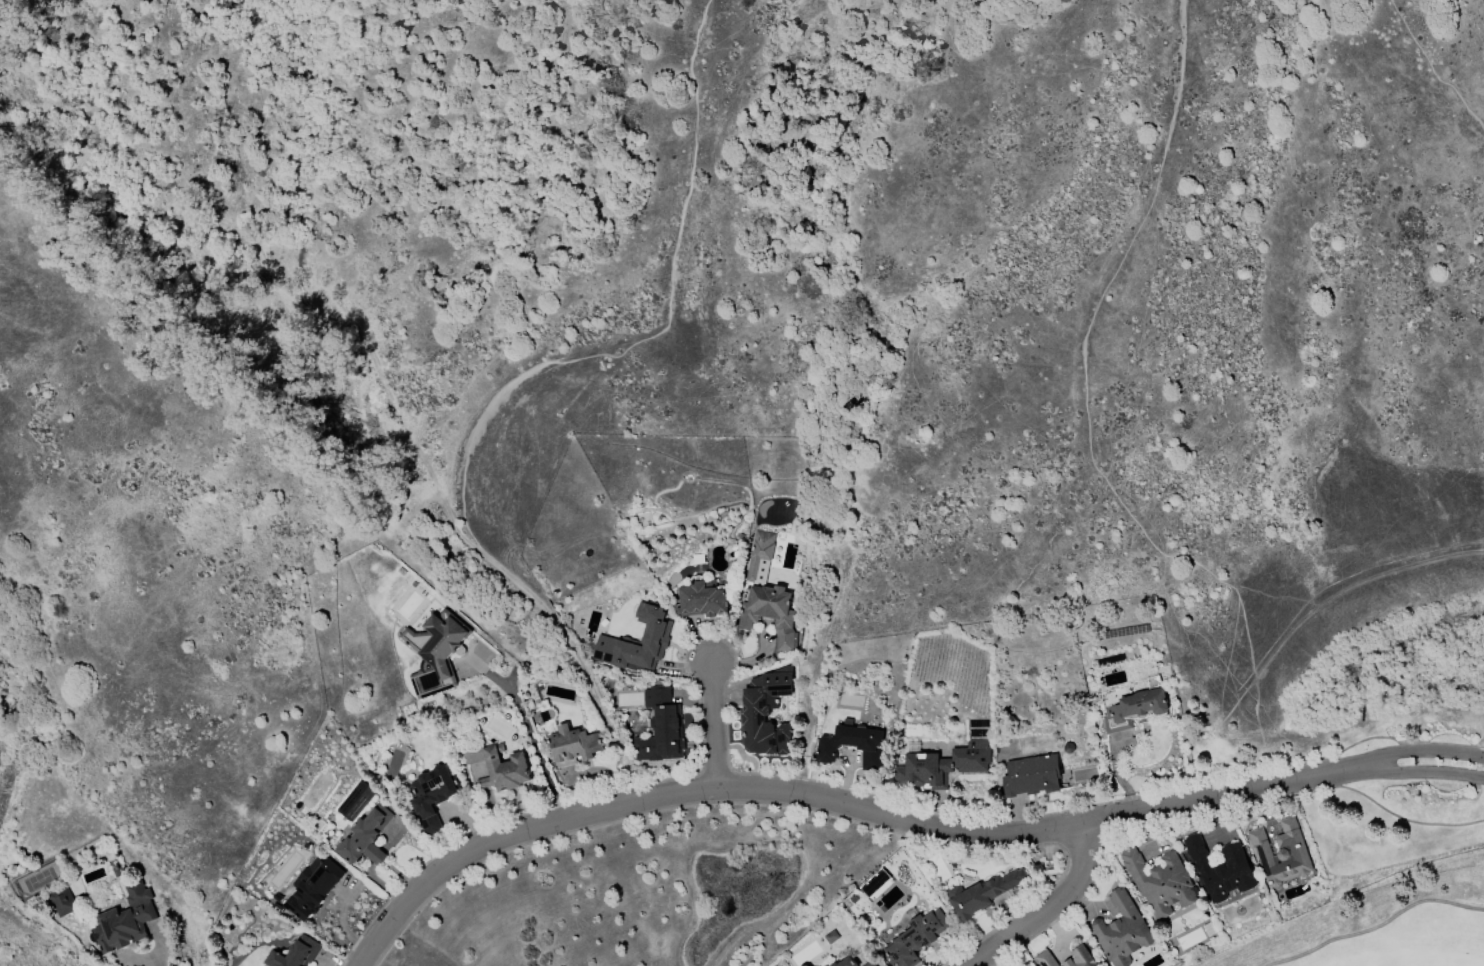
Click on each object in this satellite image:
road: (712, 2)
park: (485, 196)
road: (515, 381)
road: (998, 399)
building: (758, 556)
building: (700, 599)
building: (769, 613)
building: (636, 643)
building: (434, 653)
building: (1133, 710)
building: (765, 712)
road: (715, 727)
building: (660, 728)
building: (571, 746)
building: (851, 746)
road: (536, 749)
building: (495, 766)
building: (941, 766)
building: (1030, 776)
road: (1284, 785)
road: (796, 794)
building: (430, 796)
building: (354, 801)
building: (364, 837)
building: (1280, 853)
building: (1219, 869)
building: (1158, 882)
building: (312, 887)
building: (980, 894)
building: (61, 902)
building: (123, 921)
road: (1378, 928)
building: (1119, 931)
park: (1378, 932)
building: (829, 937)
building: (914, 938)
building: (293, 954)
building: (1044, 958)
building: (1078, 958)
building: (845, 962)
road: (159, 963)
building: (868, 964)

